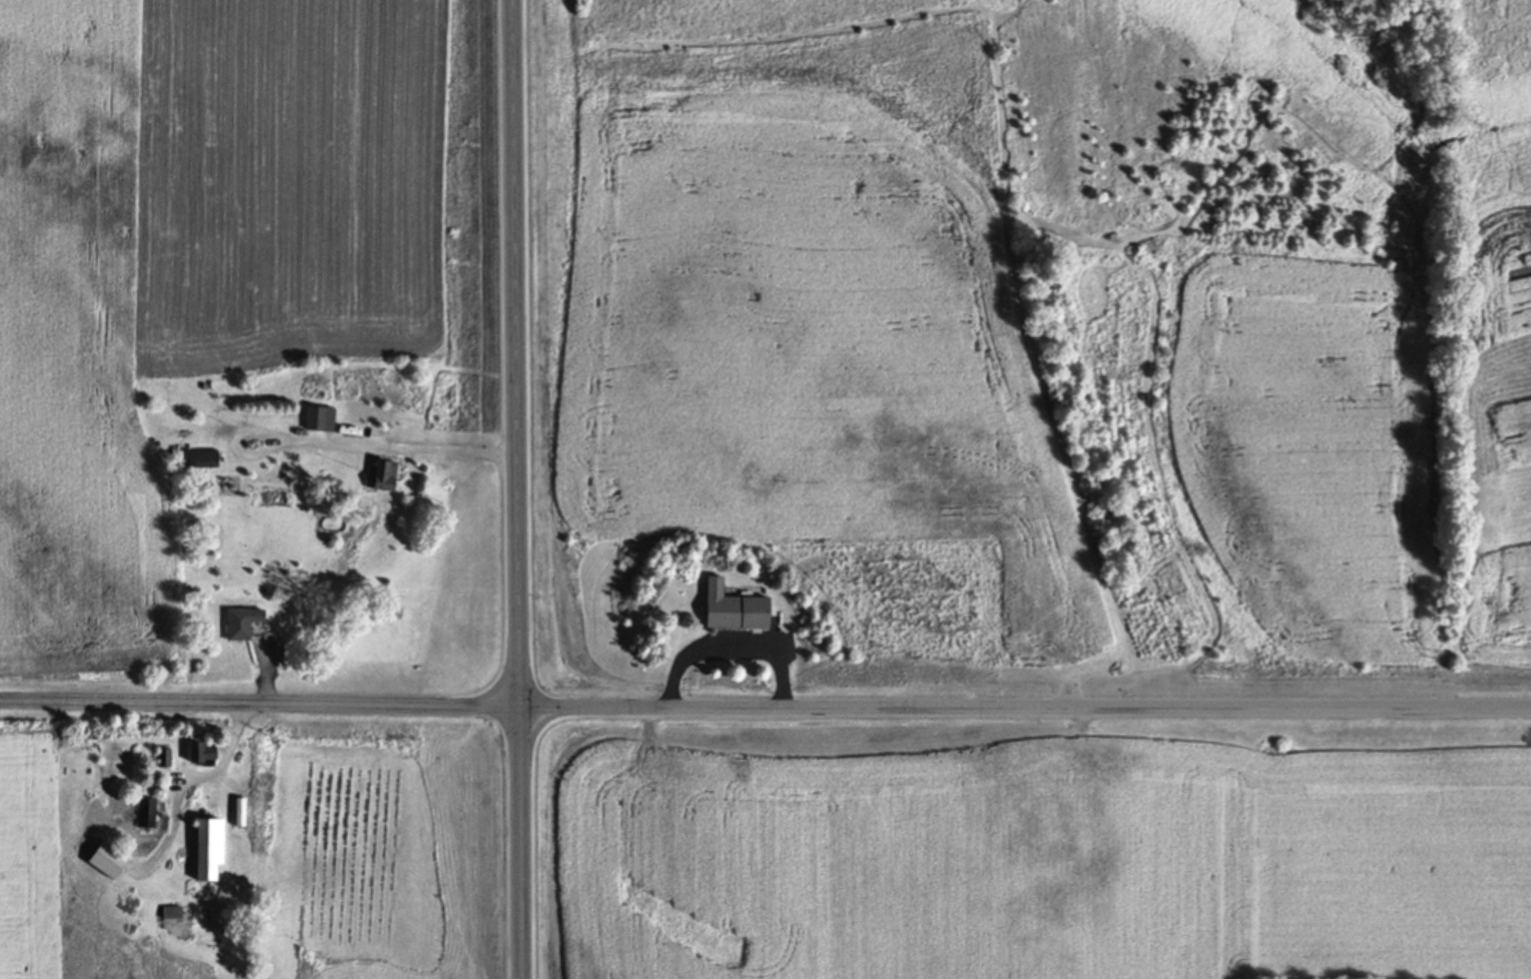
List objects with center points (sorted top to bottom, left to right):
building: (319, 420)
road: (385, 447)
building: (203, 458)
building: (386, 477)
road: (517, 489)
building: (729, 612)
building: (247, 624)
road: (729, 649)
road: (765, 710)
building: (209, 754)
building: (149, 814)
building: (215, 850)
building: (113, 861)
building: (174, 913)

